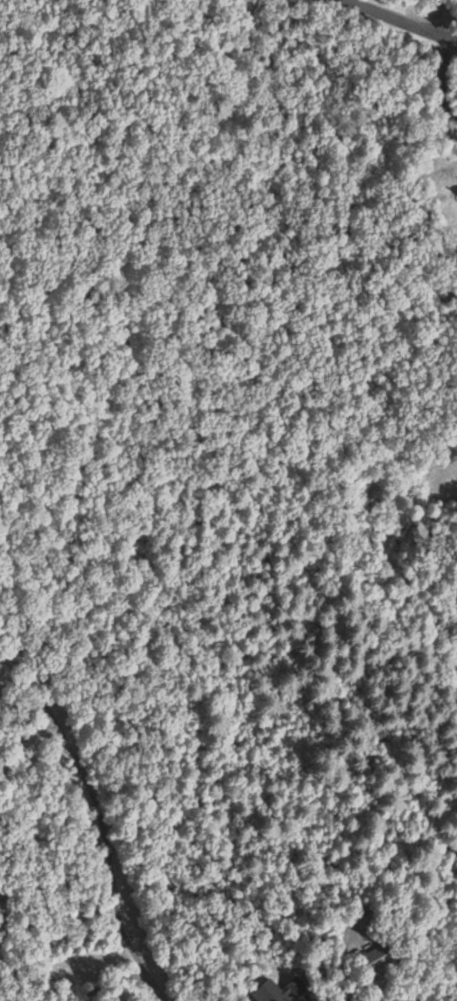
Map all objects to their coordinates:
road: (410, 21)
road: (453, 477)
building: (377, 961)

